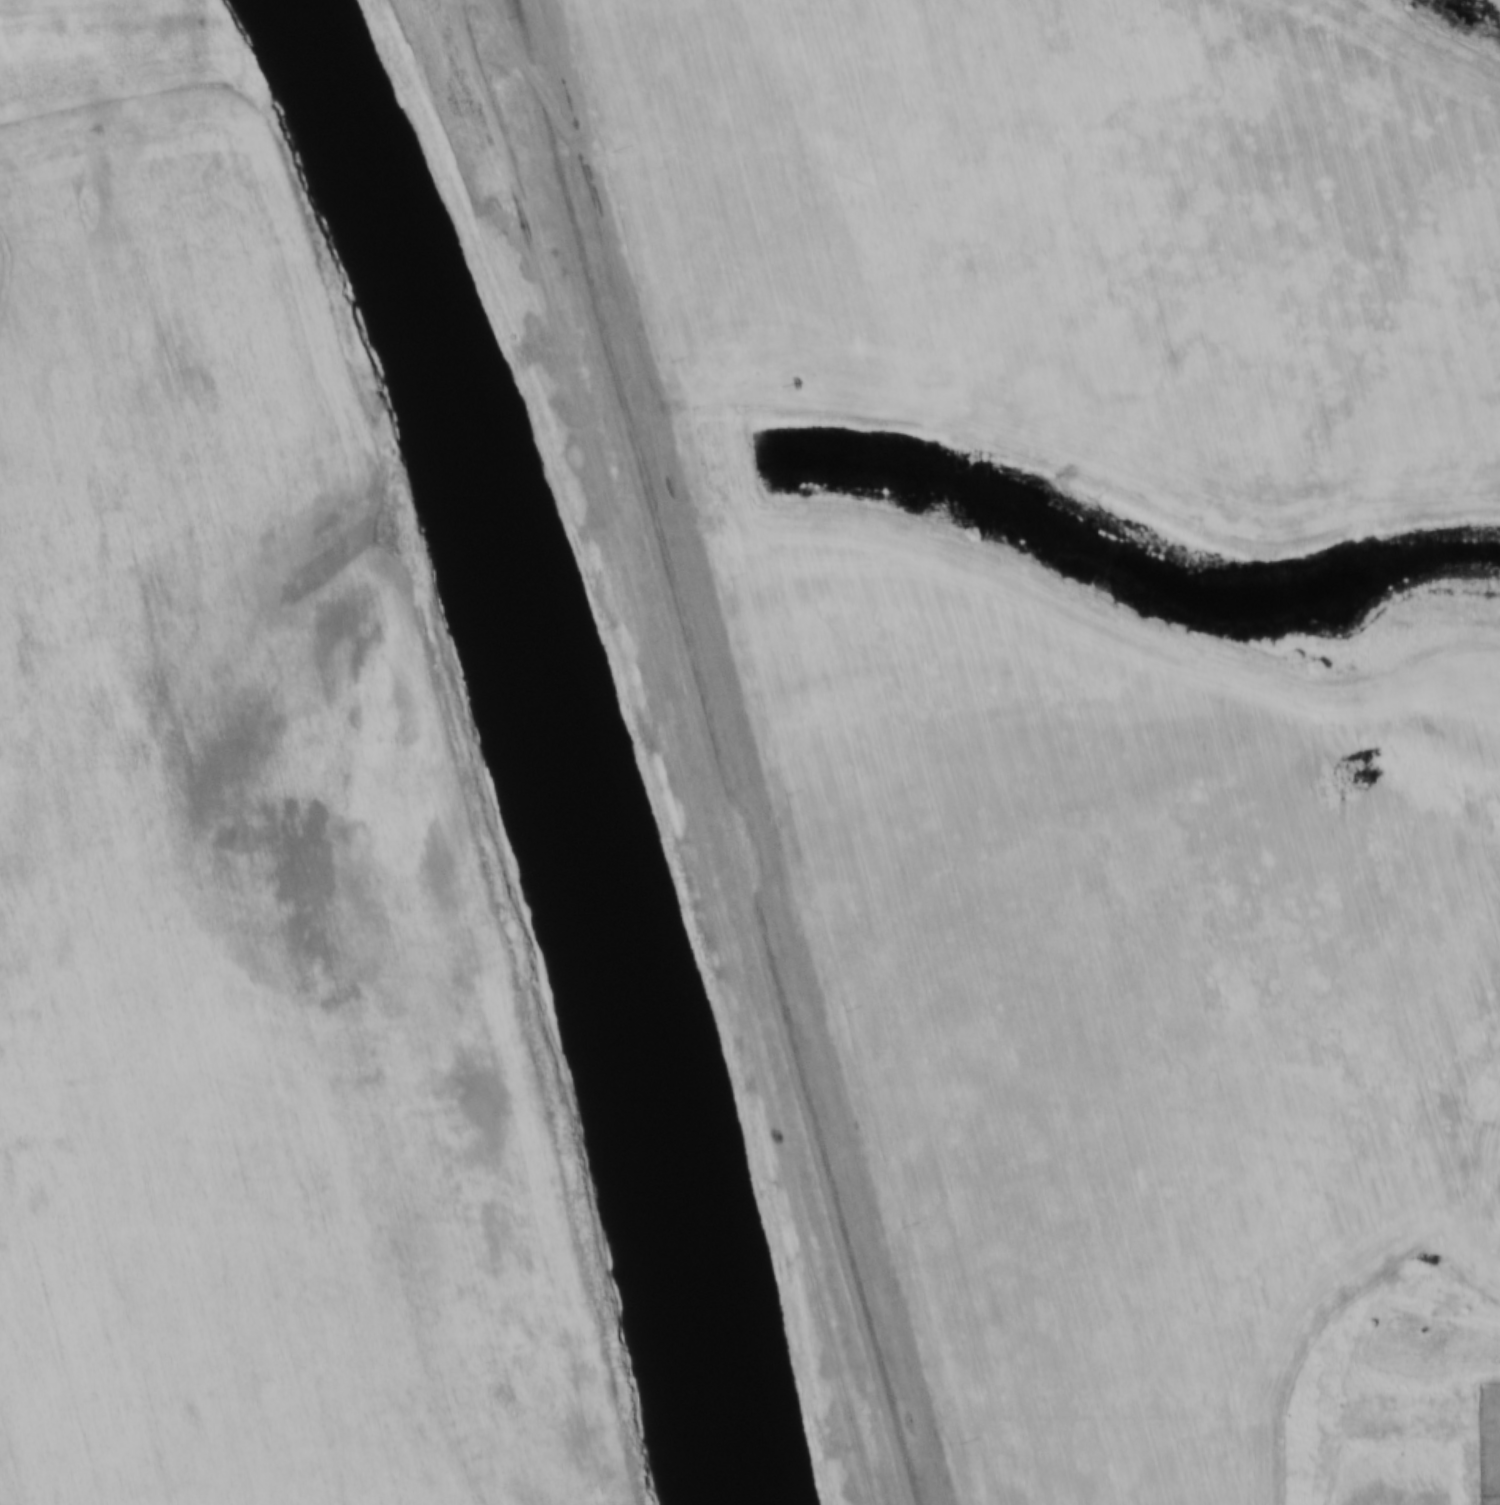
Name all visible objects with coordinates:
road: (503, 28)
road: (540, 85)
road: (620, 278)
road: (410, 662)
river: (560, 738)

